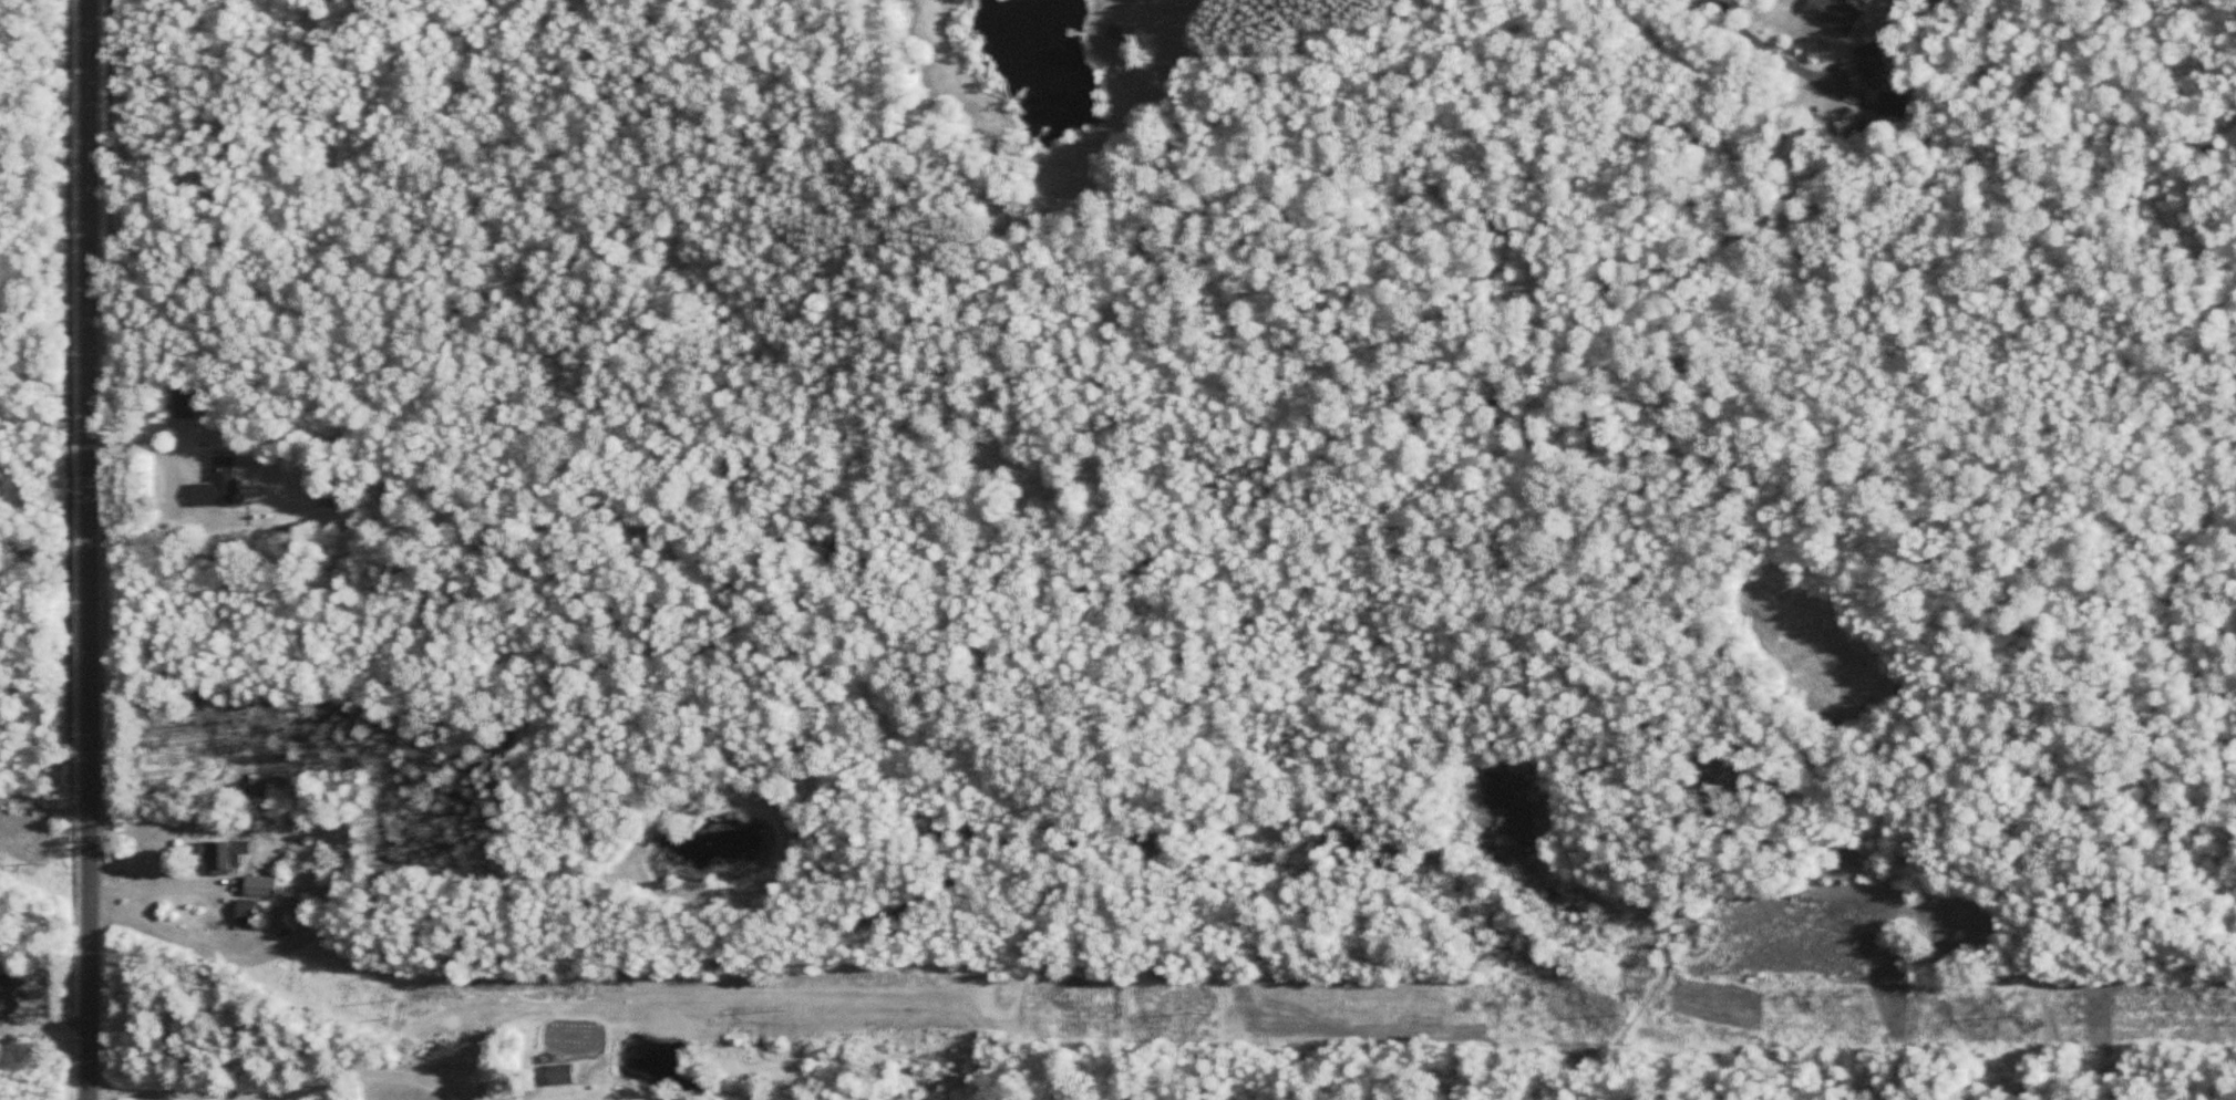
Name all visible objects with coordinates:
building: (1832, 14)
building: (1865, 68)
building: (181, 401)
building: (216, 484)
road: (91, 550)
building: (221, 857)
road: (158, 884)
building: (264, 886)
building: (244, 911)
building: (8, 993)
building: (558, 1076)

